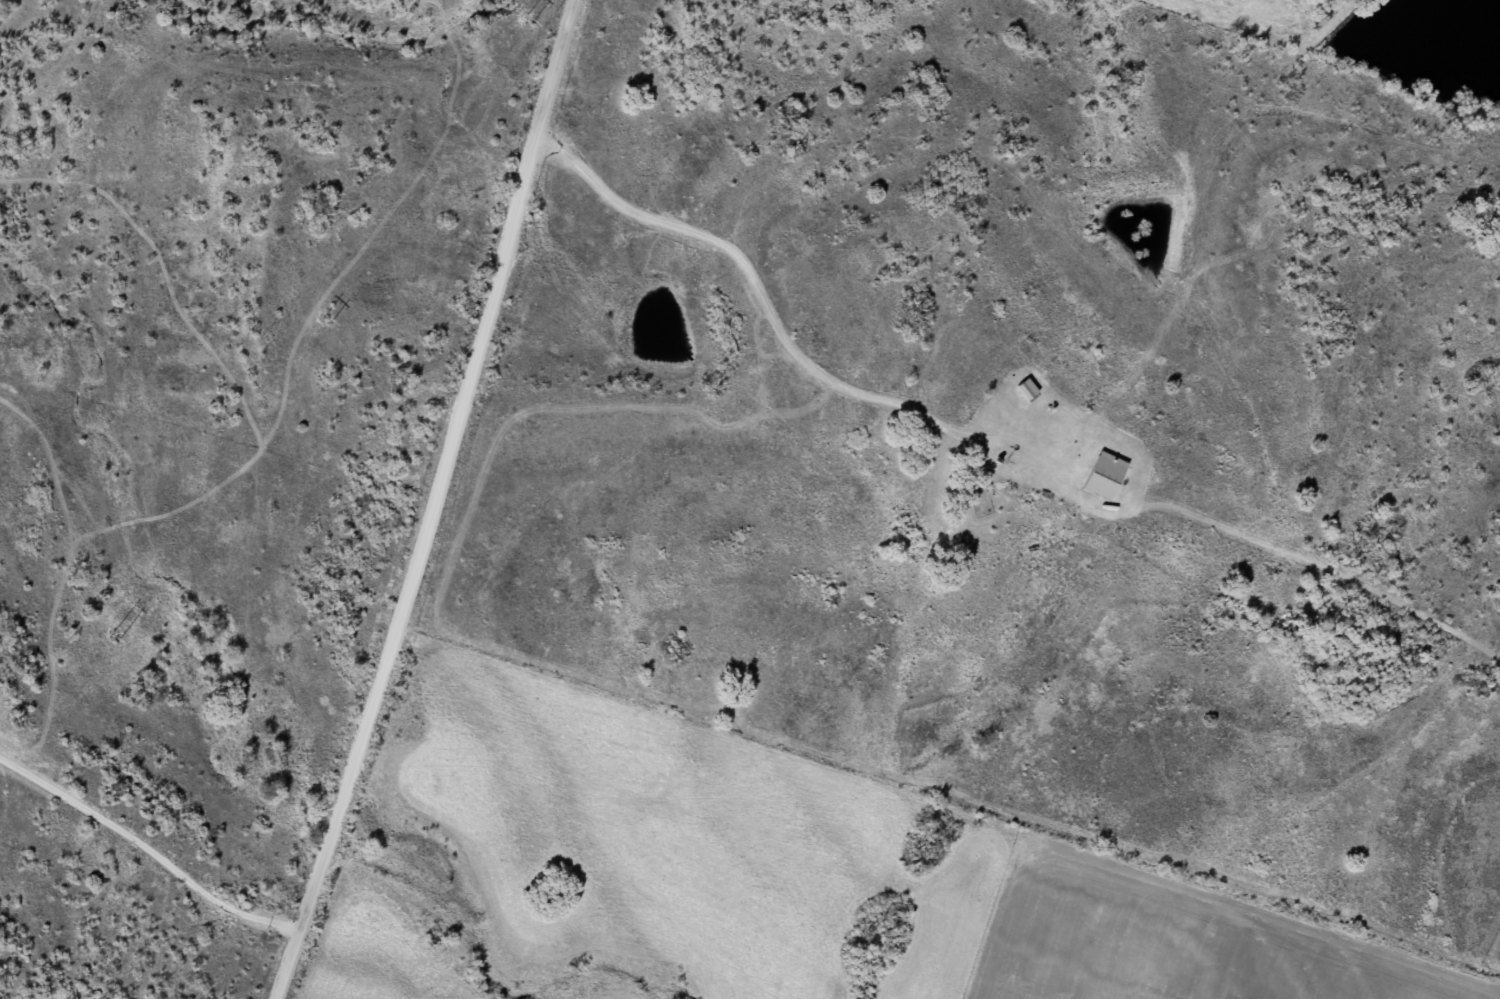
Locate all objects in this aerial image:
power tower: (525, 19)
power tower: (325, 319)
building: (1021, 388)
road: (997, 436)
road: (355, 441)
building: (1100, 475)
road: (440, 503)
road: (327, 624)
power tower: (111, 638)

